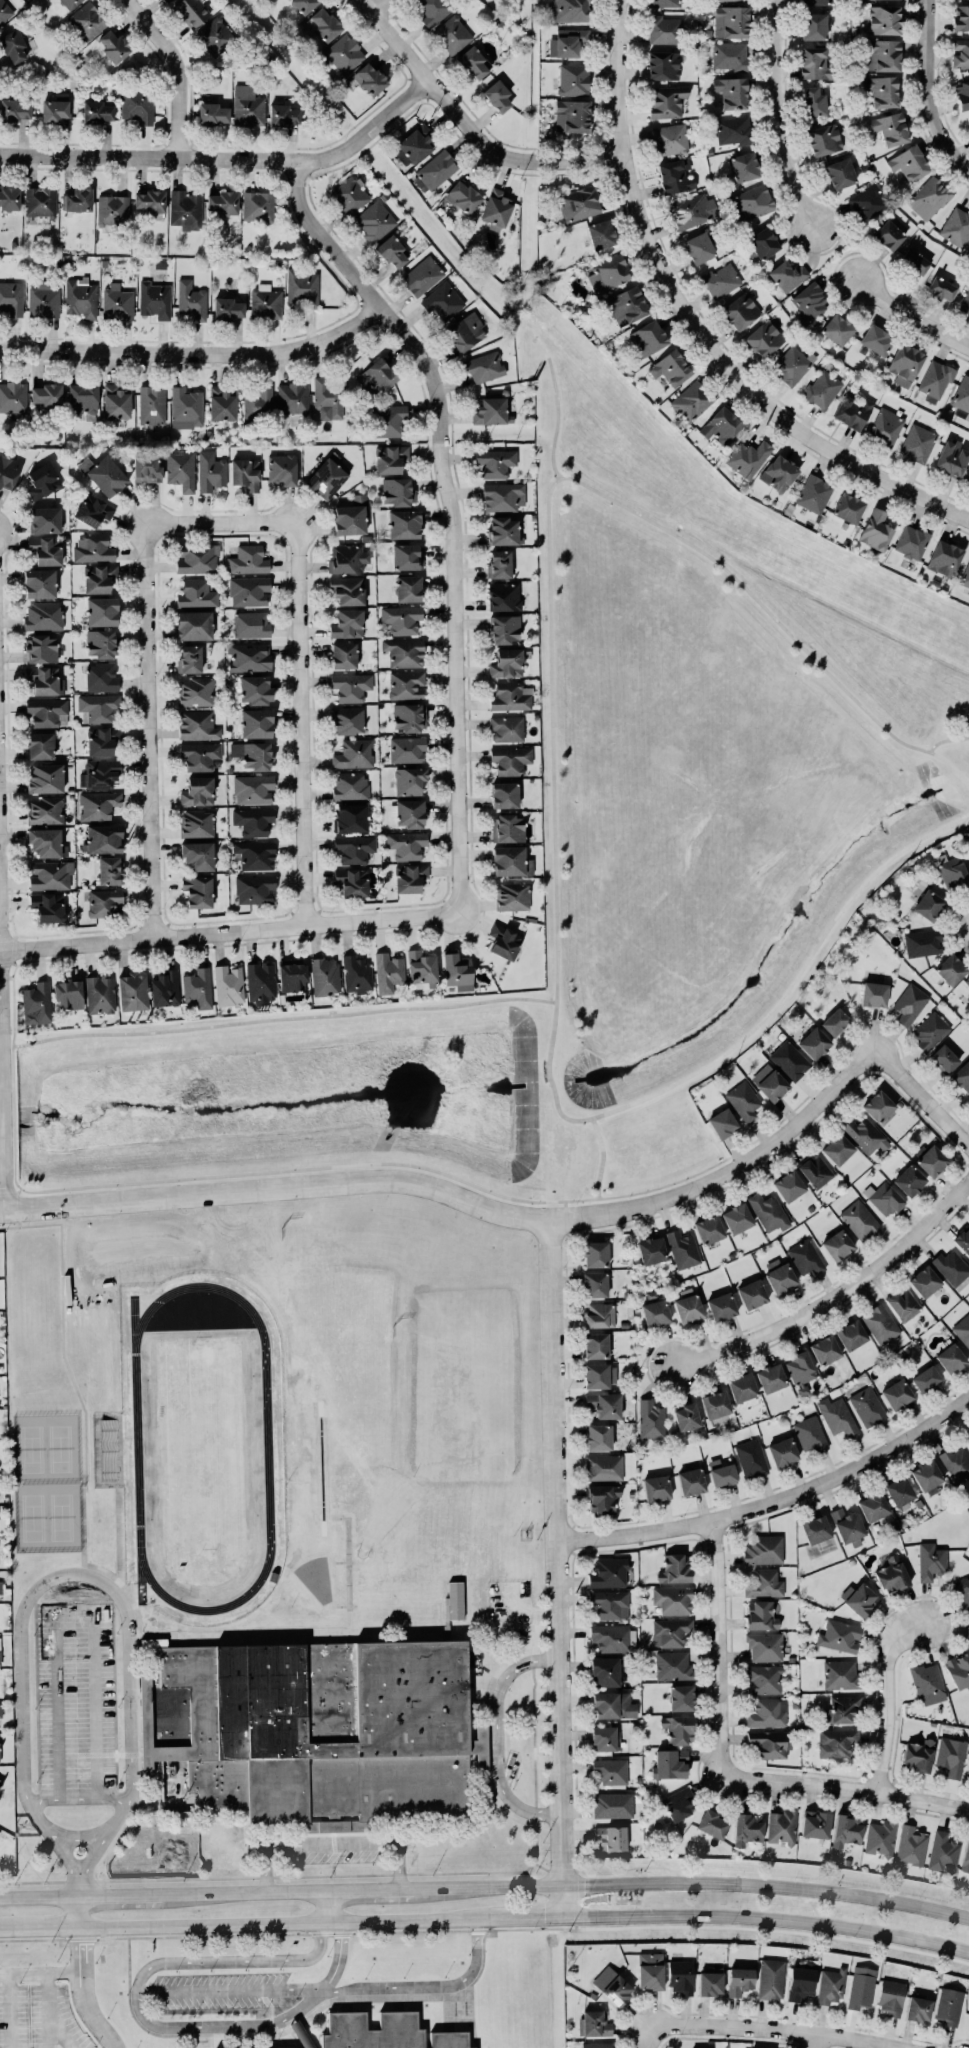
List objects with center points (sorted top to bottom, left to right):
building: (168, 0)
building: (724, 0)
building: (821, 2)
building: (70, 3)
building: (665, 3)
road: (382, 4)
building: (304, 5)
building: (433, 10)
building: (571, 10)
building: (4, 12)
building: (191, 12)
building: (961, 17)
building: (87, 20)
building: (884, 20)
building: (730, 21)
building: (324, 24)
building: (814, 26)
building: (665, 30)
building: (452, 35)
building: (215, 36)
building: (568, 42)
building: (13, 46)
building: (113, 46)
building: (961, 53)
building: (344, 54)
building: (729, 55)
building: (883, 55)
building: (474, 63)
building: (815, 64)
building: (664, 65)
road: (185, 69)
road: (619, 77)
building: (369, 79)
building: (573, 79)
building: (882, 91)
building: (731, 92)
road: (924, 94)
building: (962, 95)
building: (497, 96)
building: (667, 101)
building: (813, 102)
building: (137, 106)
building: (248, 106)
building: (55, 108)
building: (15, 109)
building: (97, 112)
building: (213, 114)
building: (283, 115)
road: (778, 115)
building: (572, 116)
road: (474, 122)
building: (891, 128)
building: (733, 130)
building: (670, 139)
building: (823, 139)
building: (413, 146)
road: (231, 157)
building: (909, 163)
building: (744, 166)
building: (437, 169)
building: (840, 173)
building: (676, 176)
building: (350, 195)
building: (463, 197)
building: (929, 198)
building: (9, 199)
building: (78, 199)
building: (40, 202)
building: (751, 202)
building: (868, 202)
building: (151, 203)
building: (223, 203)
building: (576, 204)
building: (258, 206)
building: (113, 209)
building: (496, 209)
building: (185, 210)
building: (693, 210)
building: (375, 221)
building: (956, 227)
building: (600, 234)
building: (888, 235)
building: (761, 243)
building: (699, 248)
building: (393, 252)
building: (917, 263)
building: (607, 274)
building: (787, 275)
building: (422, 276)
building: (721, 280)
building: (301, 288)
building: (941, 289)
building: (12, 298)
building: (81, 298)
building: (43, 300)
building: (155, 300)
building: (191, 300)
building: (443, 301)
building: (265, 302)
building: (809, 302)
building: (117, 303)
building: (965, 305)
building: (626, 306)
building: (228, 309)
building: (740, 311)
road: (913, 317)
building: (837, 329)
building: (466, 332)
building: (648, 338)
building: (764, 339)
building: (876, 340)
road: (199, 351)
building: (791, 364)
building: (905, 364)
building: (484, 367)
building: (670, 368)
building: (935, 381)
road: (742, 384)
building: (822, 389)
building: (46, 395)
building: (13, 397)
building: (328, 397)
building: (962, 397)
building: (292, 398)
building: (82, 401)
building: (692, 401)
building: (115, 402)
building: (221, 404)
building: (257, 404)
building: (152, 405)
building: (186, 408)
building: (489, 411)
building: (853, 411)
road: (556, 419)
building: (389, 420)
building: (720, 426)
building: (885, 427)
building: (918, 444)
building: (748, 458)
building: (951, 458)
building: (390, 459)
building: (495, 463)
building: (147, 467)
building: (180, 469)
building: (282, 469)
building: (9, 471)
building: (210, 471)
building: (245, 473)
building: (779, 473)
building: (104, 475)
building: (326, 477)
building: (43, 480)
building: (967, 481)
building: (396, 492)
building: (814, 493)
building: (503, 497)
building: (848, 508)
building: (94, 510)
road: (446, 511)
building: (351, 517)
road: (221, 518)
building: (44, 520)
building: (404, 524)
building: (875, 530)
building: (505, 531)
building: (912, 542)
building: (93, 548)
building: (46, 550)
building: (406, 556)
building: (197, 558)
building: (347, 558)
building: (944, 558)
building: (248, 560)
building: (499, 564)
building: (965, 576)
building: (98, 578)
building: (39, 583)
building: (408, 589)
building: (348, 590)
building: (249, 591)
building: (197, 594)
building: (503, 596)
building: (101, 611)
building: (43, 616)
building: (401, 619)
building: (347, 624)
building: (194, 625)
building: (251, 625)
building: (504, 629)
building: (100, 643)
building: (41, 649)
building: (404, 652)
building: (344, 655)
building: (249, 657)
building: (190, 659)
building: (507, 663)
building: (102, 677)
building: (45, 680)
building: (406, 685)
building: (351, 686)
building: (255, 689)
building: (195, 691)
building: (511, 696)
building: (99, 707)
building: (46, 711)
building: (409, 717)
building: (348, 720)
road: (306, 721)
building: (256, 723)
building: (198, 725)
road: (150, 726)
building: (507, 728)
building: (101, 740)
road: (946, 741)
building: (40, 746)
building: (407, 749)
building: (254, 754)
building: (354, 754)
building: (200, 755)
building: (511, 760)
building: (99, 773)
building: (45, 778)
building: (409, 781)
building: (350, 785)
river: (950, 788)
building: (253, 789)
building: (198, 791)
building: (504, 795)
road: (552, 801)
building: (99, 805)
building: (45, 811)
building: (408, 813)
building: (351, 818)
building: (253, 821)
building: (197, 823)
building: (507, 828)
building: (104, 838)
building: (47, 843)
building: (406, 845)
building: (354, 849)
building: (255, 854)
building: (198, 855)
building: (511, 861)
building: (109, 870)
building: (951, 871)
building: (50, 875)
building: (410, 878)
building: (353, 882)
building: (255, 889)
building: (197, 891)
building: (512, 896)
building: (103, 902)
building: (928, 905)
building: (48, 907)
road: (227, 930)
building: (504, 941)
building: (923, 942)
river: (769, 957)
building: (421, 968)
building: (950, 969)
building: (457, 971)
building: (388, 972)
building: (357, 974)
building: (292, 975)
building: (325, 976)
building: (261, 982)
building: (966, 982)
building: (228, 985)
building: (165, 989)
building: (197, 989)
building: (132, 992)
building: (68, 994)
building: (100, 994)
building: (874, 994)
building: (38, 1002)
building: (910, 1004)
road: (277, 1020)
building: (835, 1022)
building: (930, 1031)
building: (814, 1043)
building: (944, 1058)
building: (790, 1060)
building: (962, 1077)
river: (546, 1082)
building: (769, 1082)
building: (743, 1100)
road: (921, 1100)
river: (270, 1104)
building: (878, 1106)
road: (2, 1110)
river: (12, 1123)
building: (722, 1123)
building: (865, 1135)
building: (838, 1149)
road: (603, 1157)
building: (931, 1160)
road: (389, 1161)
building: (816, 1171)
road: (730, 1174)
building: (909, 1180)
road: (278, 1186)
building: (789, 1186)
building: (884, 1198)
road: (19, 1208)
road: (566, 1210)
building: (769, 1212)
building: (737, 1218)
building: (859, 1220)
road: (30, 1224)
building: (708, 1229)
building: (963, 1240)
building: (837, 1245)
building: (683, 1249)
building: (651, 1250)
building: (595, 1254)
building: (805, 1257)
building: (951, 1266)
building: (778, 1275)
building: (924, 1281)
building: (594, 1284)
building: (752, 1294)
road: (836, 1295)
building: (903, 1304)
building: (687, 1305)
building: (721, 1306)
building: (655, 1313)
building: (599, 1315)
building: (880, 1323)
building: (962, 1329)
building: (851, 1335)
building: (596, 1345)
building: (825, 1350)
building: (950, 1356)
building: (800, 1368)
building: (600, 1375)
building: (771, 1378)
building: (926, 1379)
building: (742, 1387)
building: (897, 1394)
road: (81, 1399)
building: (716, 1404)
building: (605, 1405)
building: (867, 1406)
building: (686, 1416)
building: (838, 1418)
building: (651, 1420)
building: (810, 1433)
building: (599, 1437)
building: (967, 1437)
stadium: (198, 1445)
park: (203, 1448)
building: (783, 1452)
building: (751, 1458)
building: (956, 1463)
building: (604, 1467)
building: (721, 1473)
building: (927, 1475)
park: (47, 1481)
building: (691, 1481)
building: (656, 1488)
building: (900, 1493)
building: (602, 1498)
road: (773, 1503)
building: (873, 1506)
building: (847, 1525)
building: (816, 1529)
building: (764, 1549)
building: (931, 1561)
building: (674, 1569)
road: (557, 1570)
building: (609, 1573)
building: (892, 1575)
building: (764, 1583)
building: (1, 1586)
building: (962, 1589)
building: (859, 1598)
building: (672, 1599)
building: (455, 1600)
road: (76, 1604)
building: (610, 1604)
building: (760, 1615)
building: (670, 1632)
building: (968, 1633)
building: (840, 1636)
building: (613, 1638)
road: (718, 1647)
building: (765, 1647)
building: (0, 1653)
building: (673, 1665)
building: (959, 1669)
building: (604, 1672)
building: (840, 1674)
building: (765, 1678)
building: (927, 1680)
road: (21, 1696)
building: (681, 1698)
road: (888, 1698)
parking lot: (78, 1701)
road: (131, 1704)
building: (613, 1705)
building: (0, 1709)
building: (841, 1709)
building: (768, 1713)
building: (323, 1728)
building: (678, 1729)
road: (497, 1739)
building: (605, 1739)
building: (836, 1742)
building: (769, 1743)
building: (919, 1755)
building: (951, 1756)
building: (670, 1763)
building: (610, 1771)
building: (968, 1771)
road: (848, 1788)
road: (79, 1799)
building: (678, 1803)
building: (613, 1805)
building: (713, 1824)
building: (815, 1824)
building: (781, 1826)
building: (747, 1829)
building: (846, 1830)
building: (611, 1837)
building: (880, 1838)
road: (330, 1843)
building: (911, 1845)
building: (943, 1851)
building: (965, 1858)
road: (87, 1861)
road: (78, 1880)
road: (568, 1886)
road: (121, 1896)
road: (38, 1897)
road: (328, 1907)
road: (77, 1913)
road: (526, 1918)
road: (767, 1918)
road: (283, 1924)
road: (38, 1930)
building: (650, 1970)
road: (40, 1971)
building: (681, 1976)
building: (771, 1978)
building: (739, 1980)
building: (801, 1981)
building: (710, 1983)
building: (831, 1985)
building: (614, 1987)
building: (861, 1987)
road: (83, 1993)
road: (334, 1993)
building: (891, 1997)
building: (949, 2006)
building: (918, 2008)
road: (48, 2009)
road: (10, 2010)
road: (147, 2023)
building: (595, 2024)
road: (60, 2031)
road: (771, 2032)
building: (398, 2034)
road: (649, 2040)
road: (814, 2041)
building: (597, 2045)

